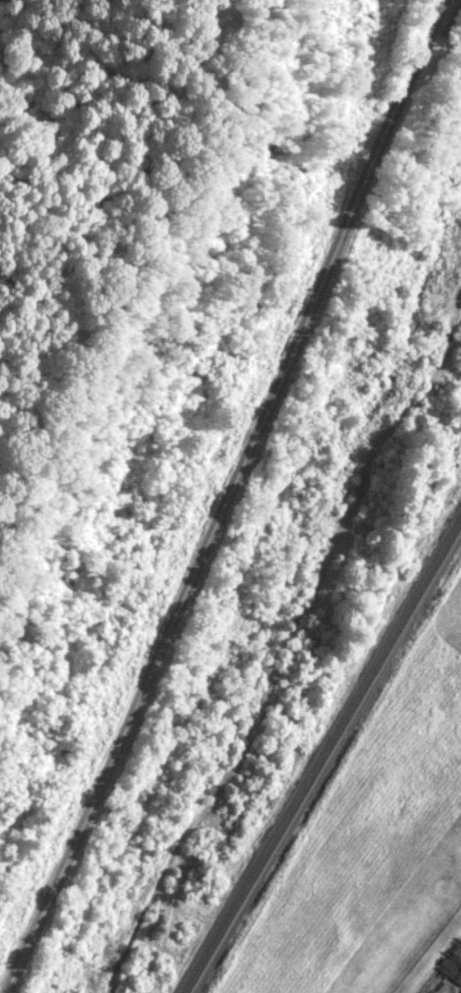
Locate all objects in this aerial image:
road: (212, 494)
railway: (327, 761)

